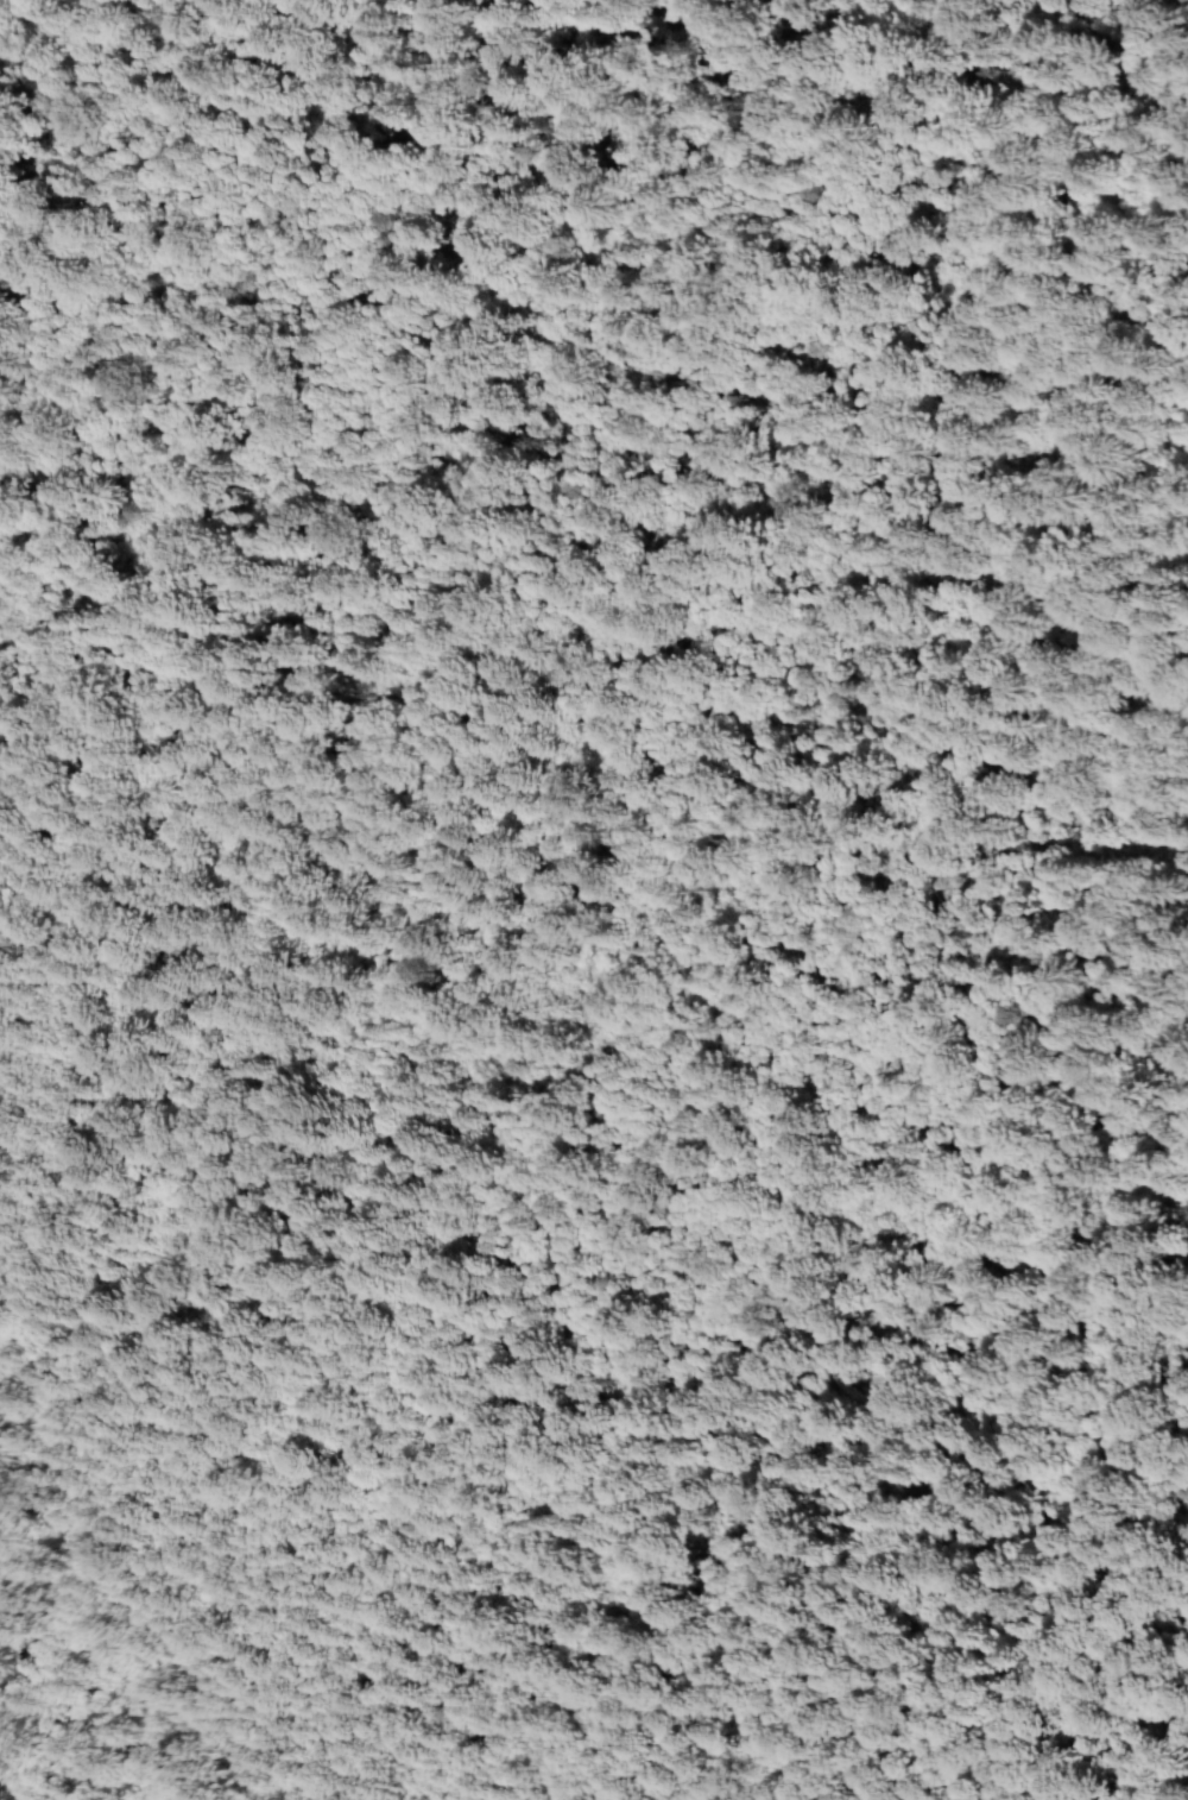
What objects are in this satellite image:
road: (947, 11)
road: (1061, 410)
road: (141, 1424)

